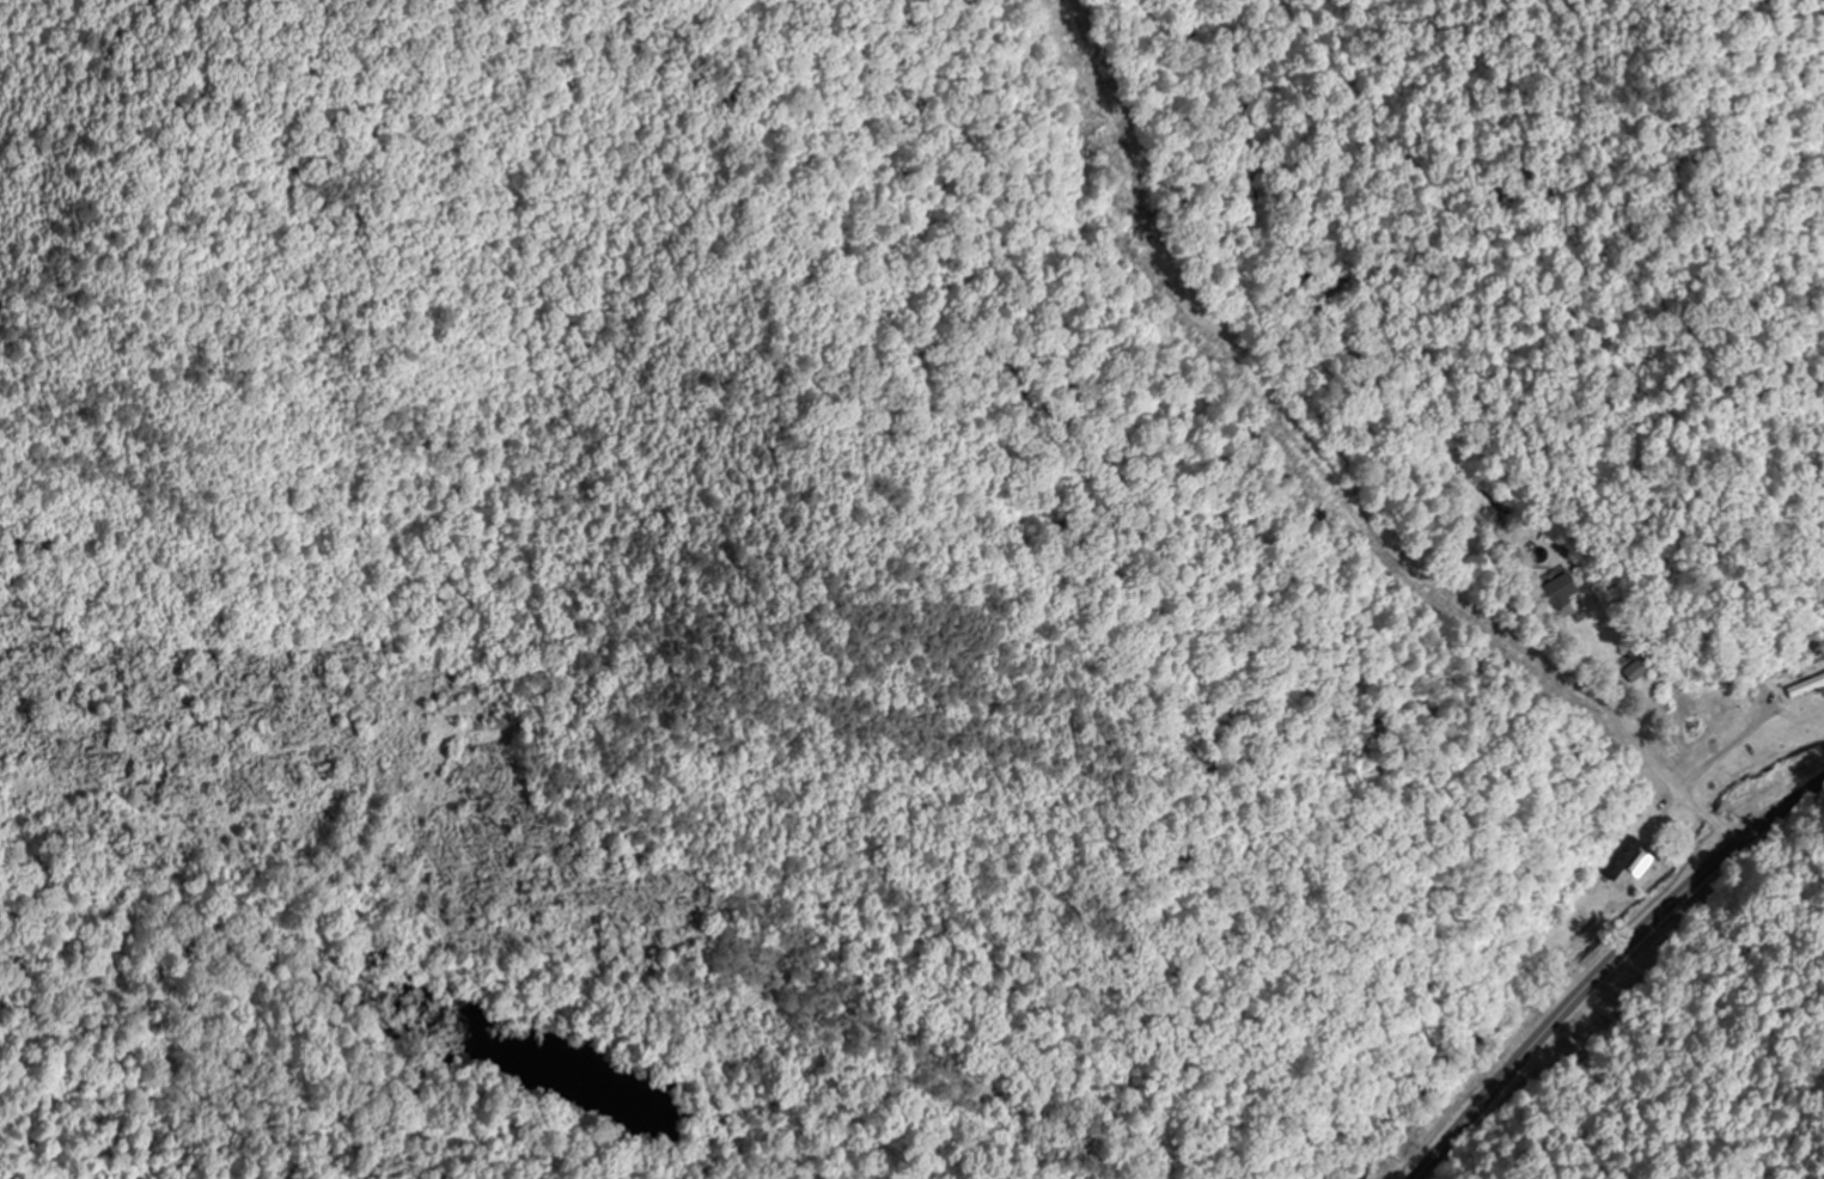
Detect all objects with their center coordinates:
building: (1561, 587)
road: (1606, 966)

